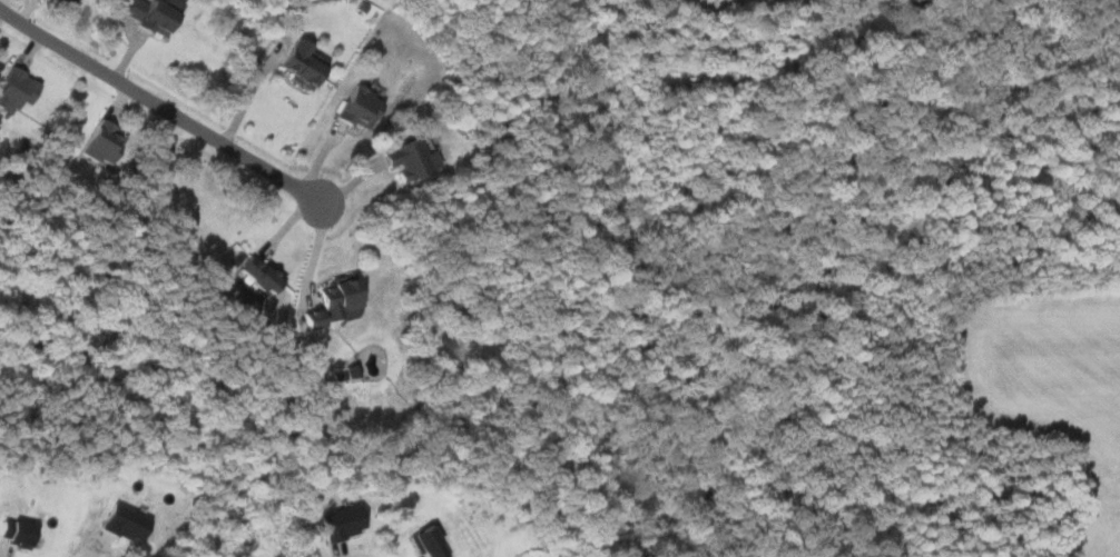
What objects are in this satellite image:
building: (65, 0)
building: (147, 16)
building: (297, 64)
building: (14, 90)
road: (161, 107)
building: (355, 108)
building: (99, 143)
building: (410, 159)
building: (254, 275)
building: (331, 302)
building: (121, 523)
building: (338, 523)
building: (16, 533)
building: (424, 540)

